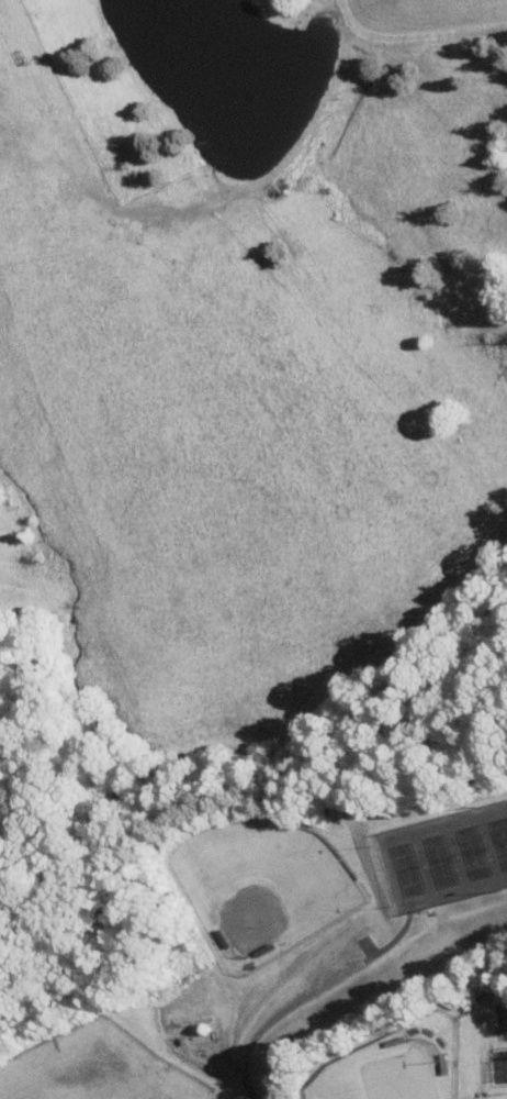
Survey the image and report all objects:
park: (447, 854)
park: (260, 885)
road: (280, 1012)
park: (388, 1070)
park: (486, 1095)

